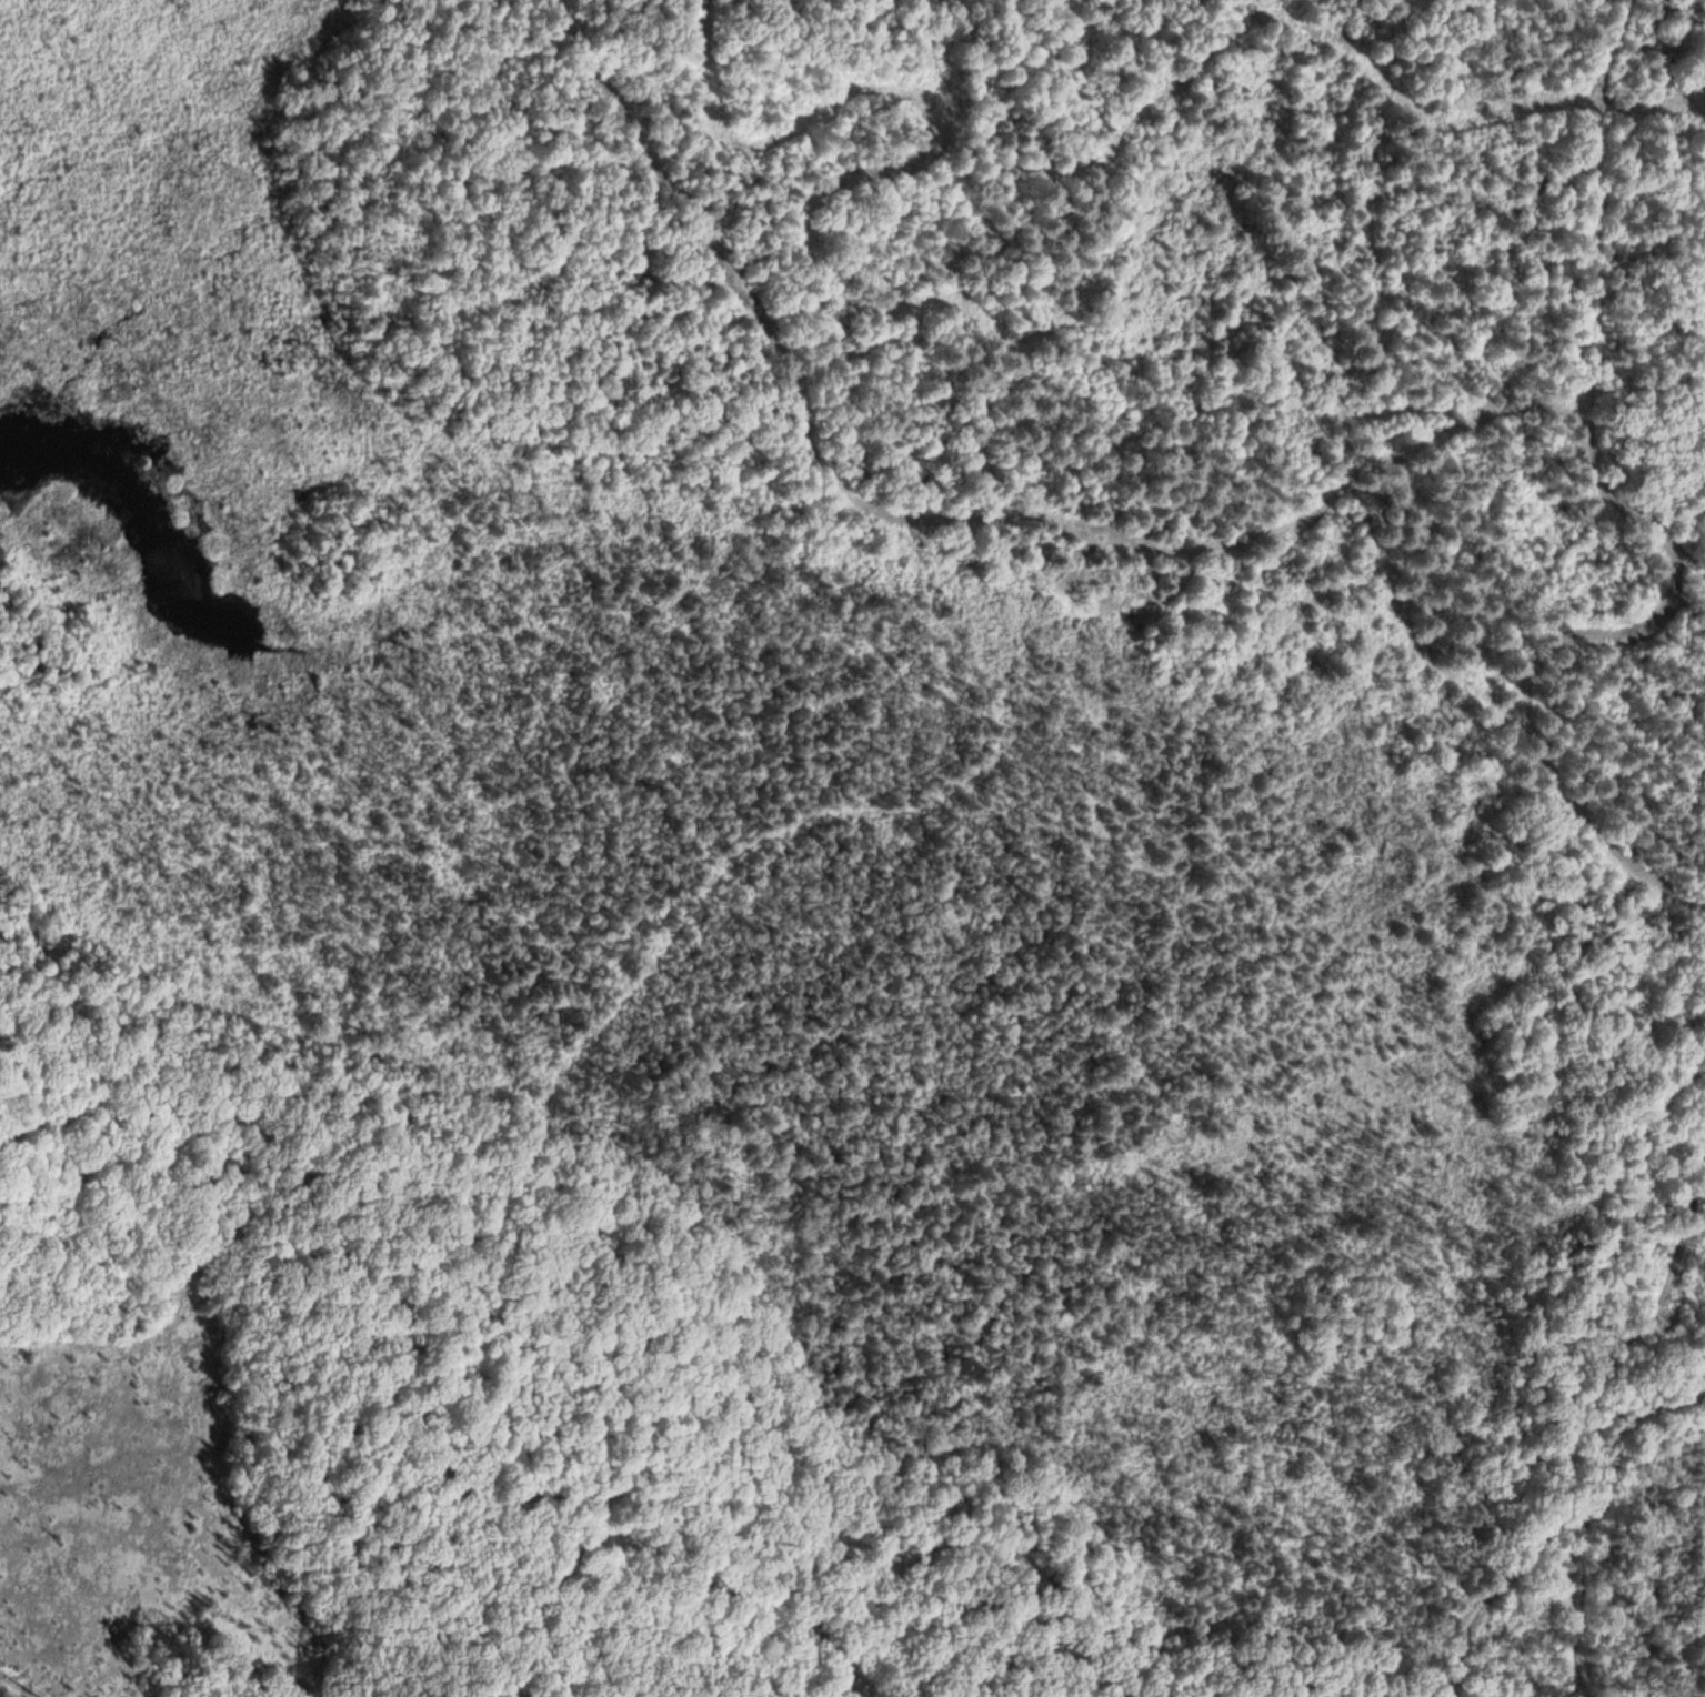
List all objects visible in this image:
road: (18, 1685)

